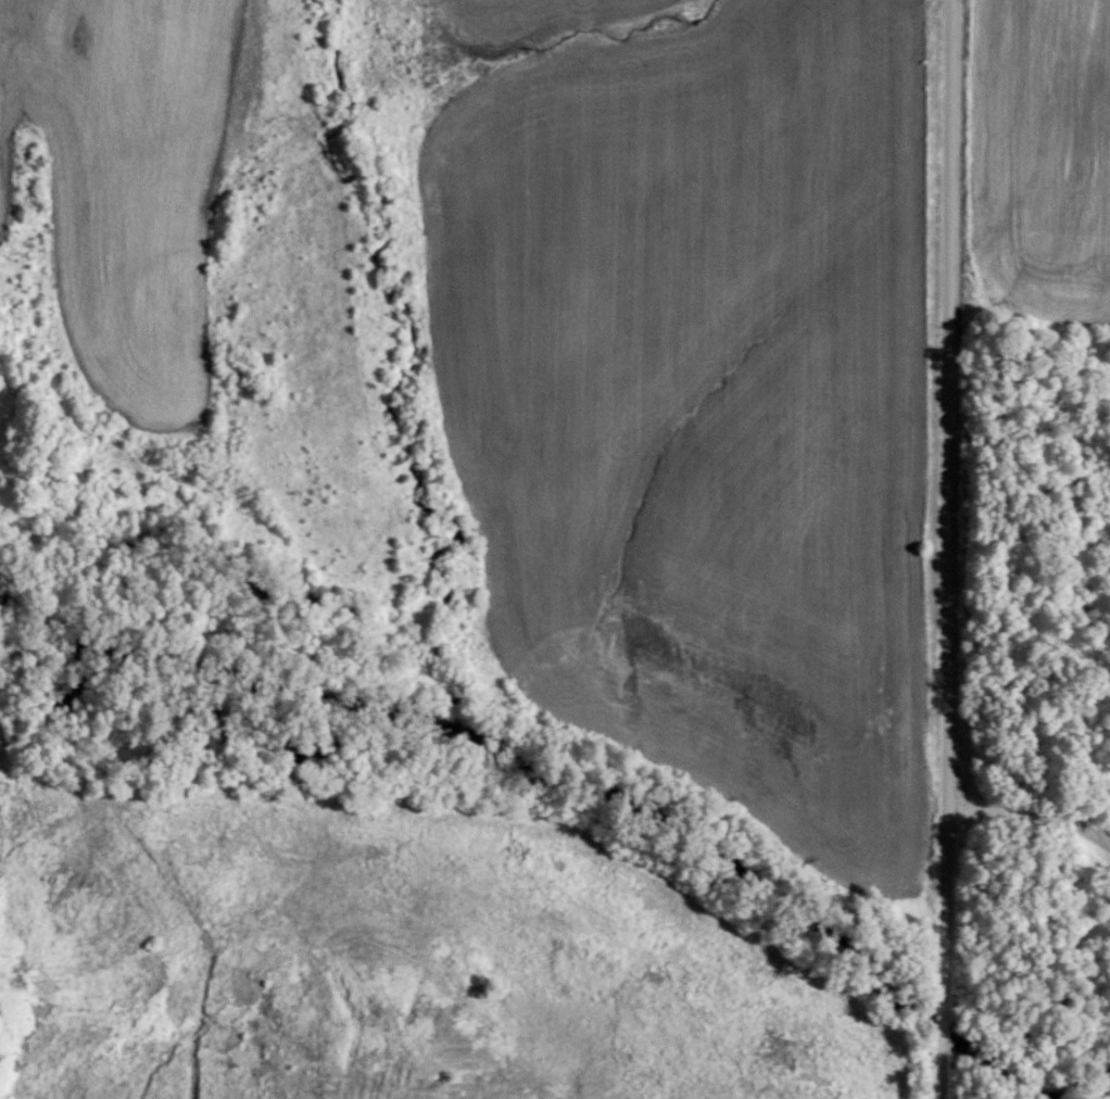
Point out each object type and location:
road: (948, 549)

